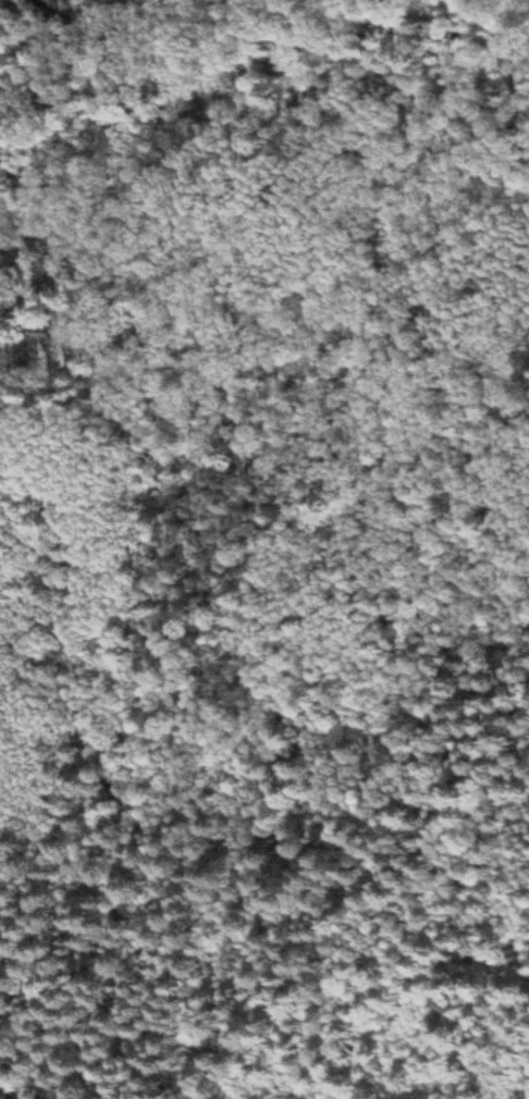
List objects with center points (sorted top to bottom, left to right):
building: (56, 4)

